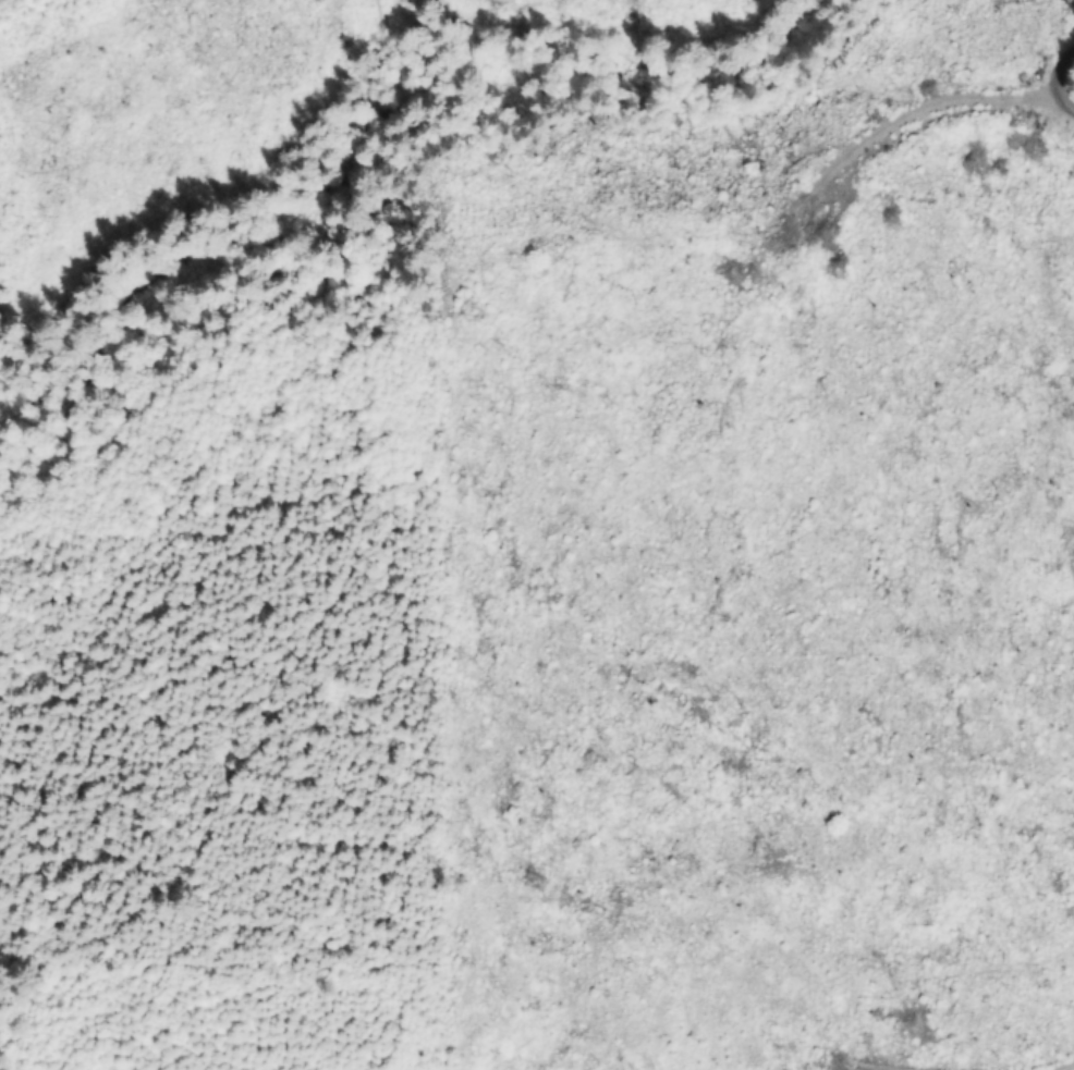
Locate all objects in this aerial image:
road: (1050, 87)

